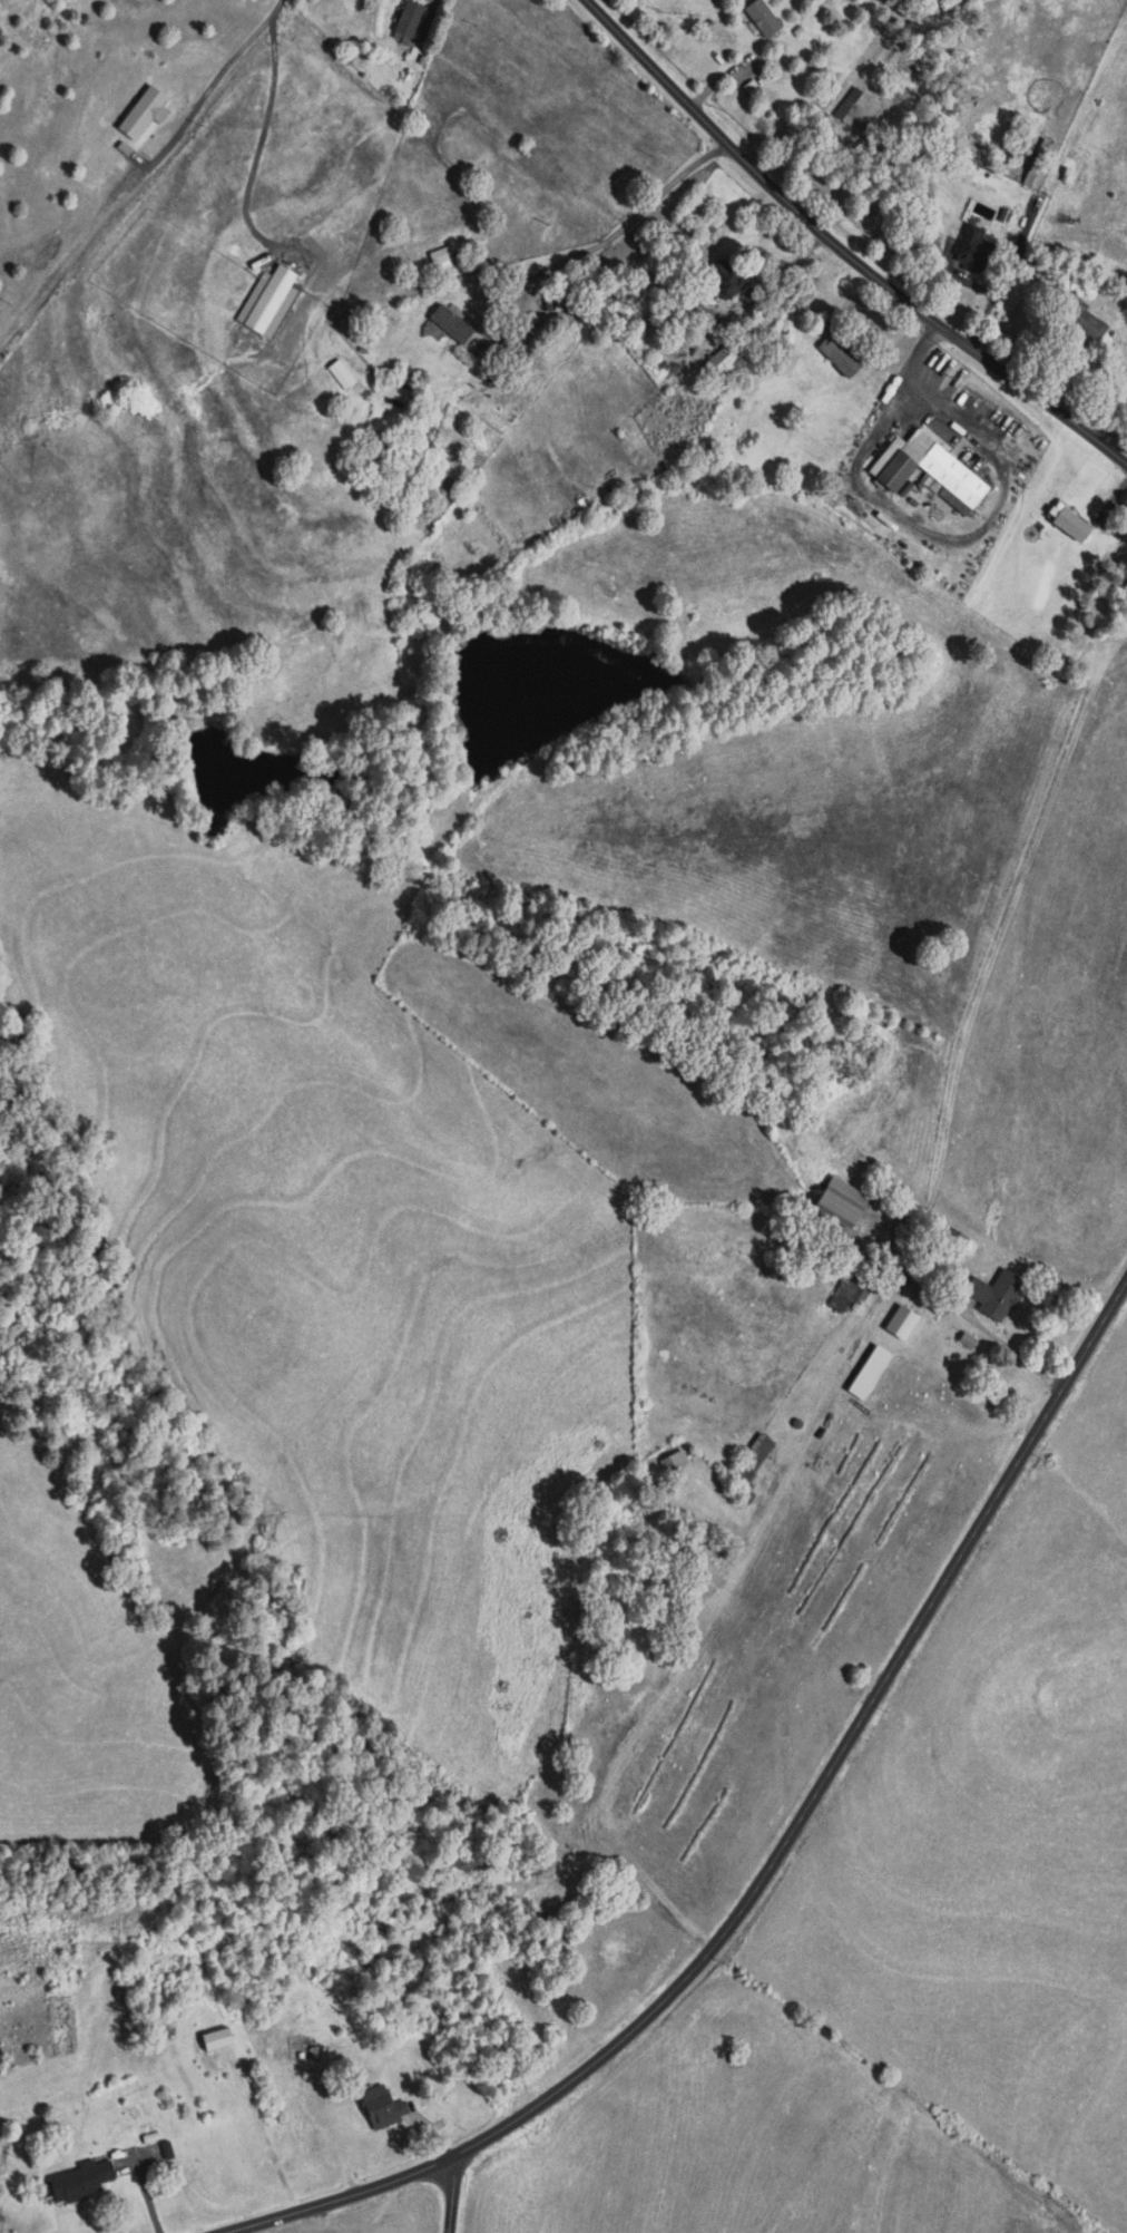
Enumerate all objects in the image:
road: (433, 6)
road: (276, 7)
building: (764, 18)
building: (411, 21)
road: (200, 101)
building: (144, 111)
road: (257, 154)
road: (617, 226)
road: (841, 251)
building: (976, 251)
building: (443, 255)
building: (724, 281)
building: (571, 302)
building: (1084, 320)
building: (453, 323)
building: (842, 355)
building: (724, 365)
building: (343, 374)
building: (395, 392)
road: (925, 400)
building: (930, 467)
road: (900, 516)
building: (1072, 524)
building: (844, 1202)
building: (902, 1235)
building: (961, 1241)
building: (853, 1289)
building: (998, 1294)
building: (903, 1323)
building: (754, 1460)
building: (676, 1462)
road: (756, 1548)
road: (782, 1852)
building: (216, 2028)
building: (300, 2052)
building: (384, 2107)
building: (82, 2181)
road: (453, 2195)

